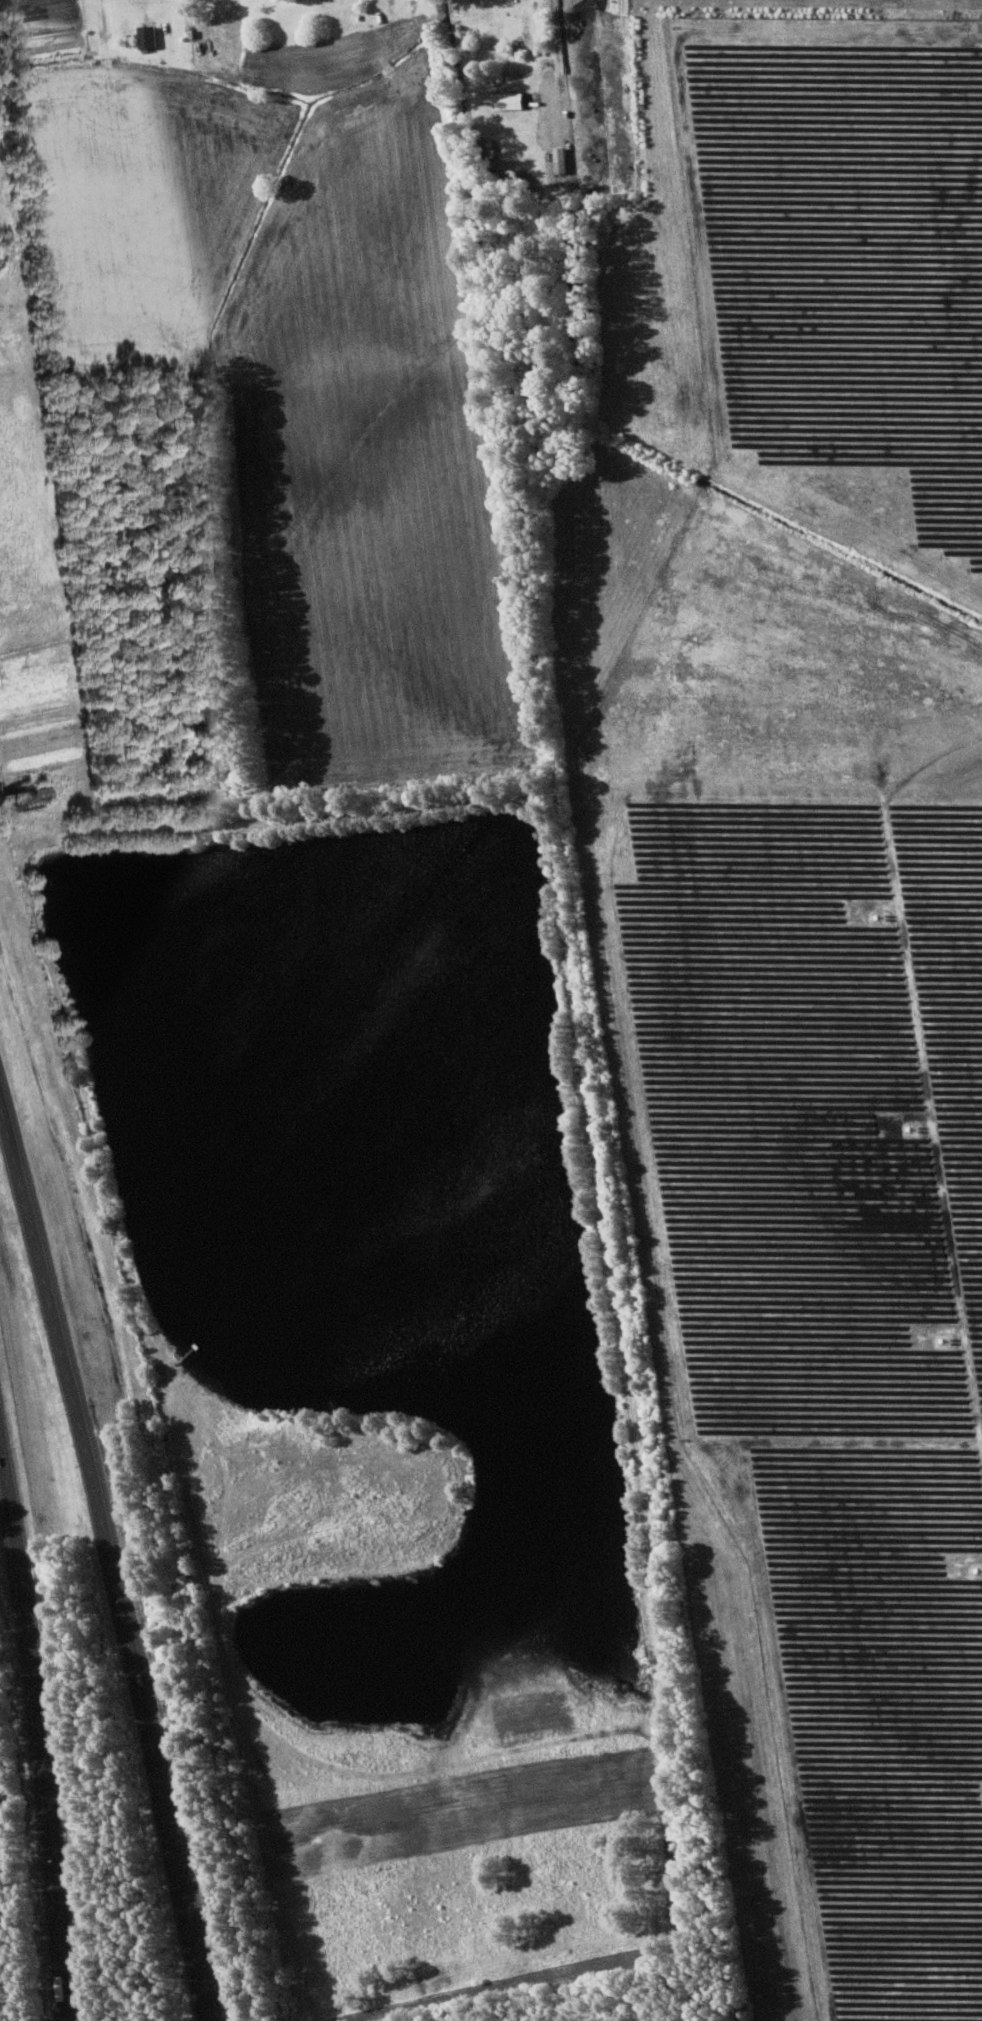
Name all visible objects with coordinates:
building: (148, 36)
building: (509, 101)
building: (561, 160)
solar farm: (825, 948)
road: (112, 1555)
road: (46, 1706)

